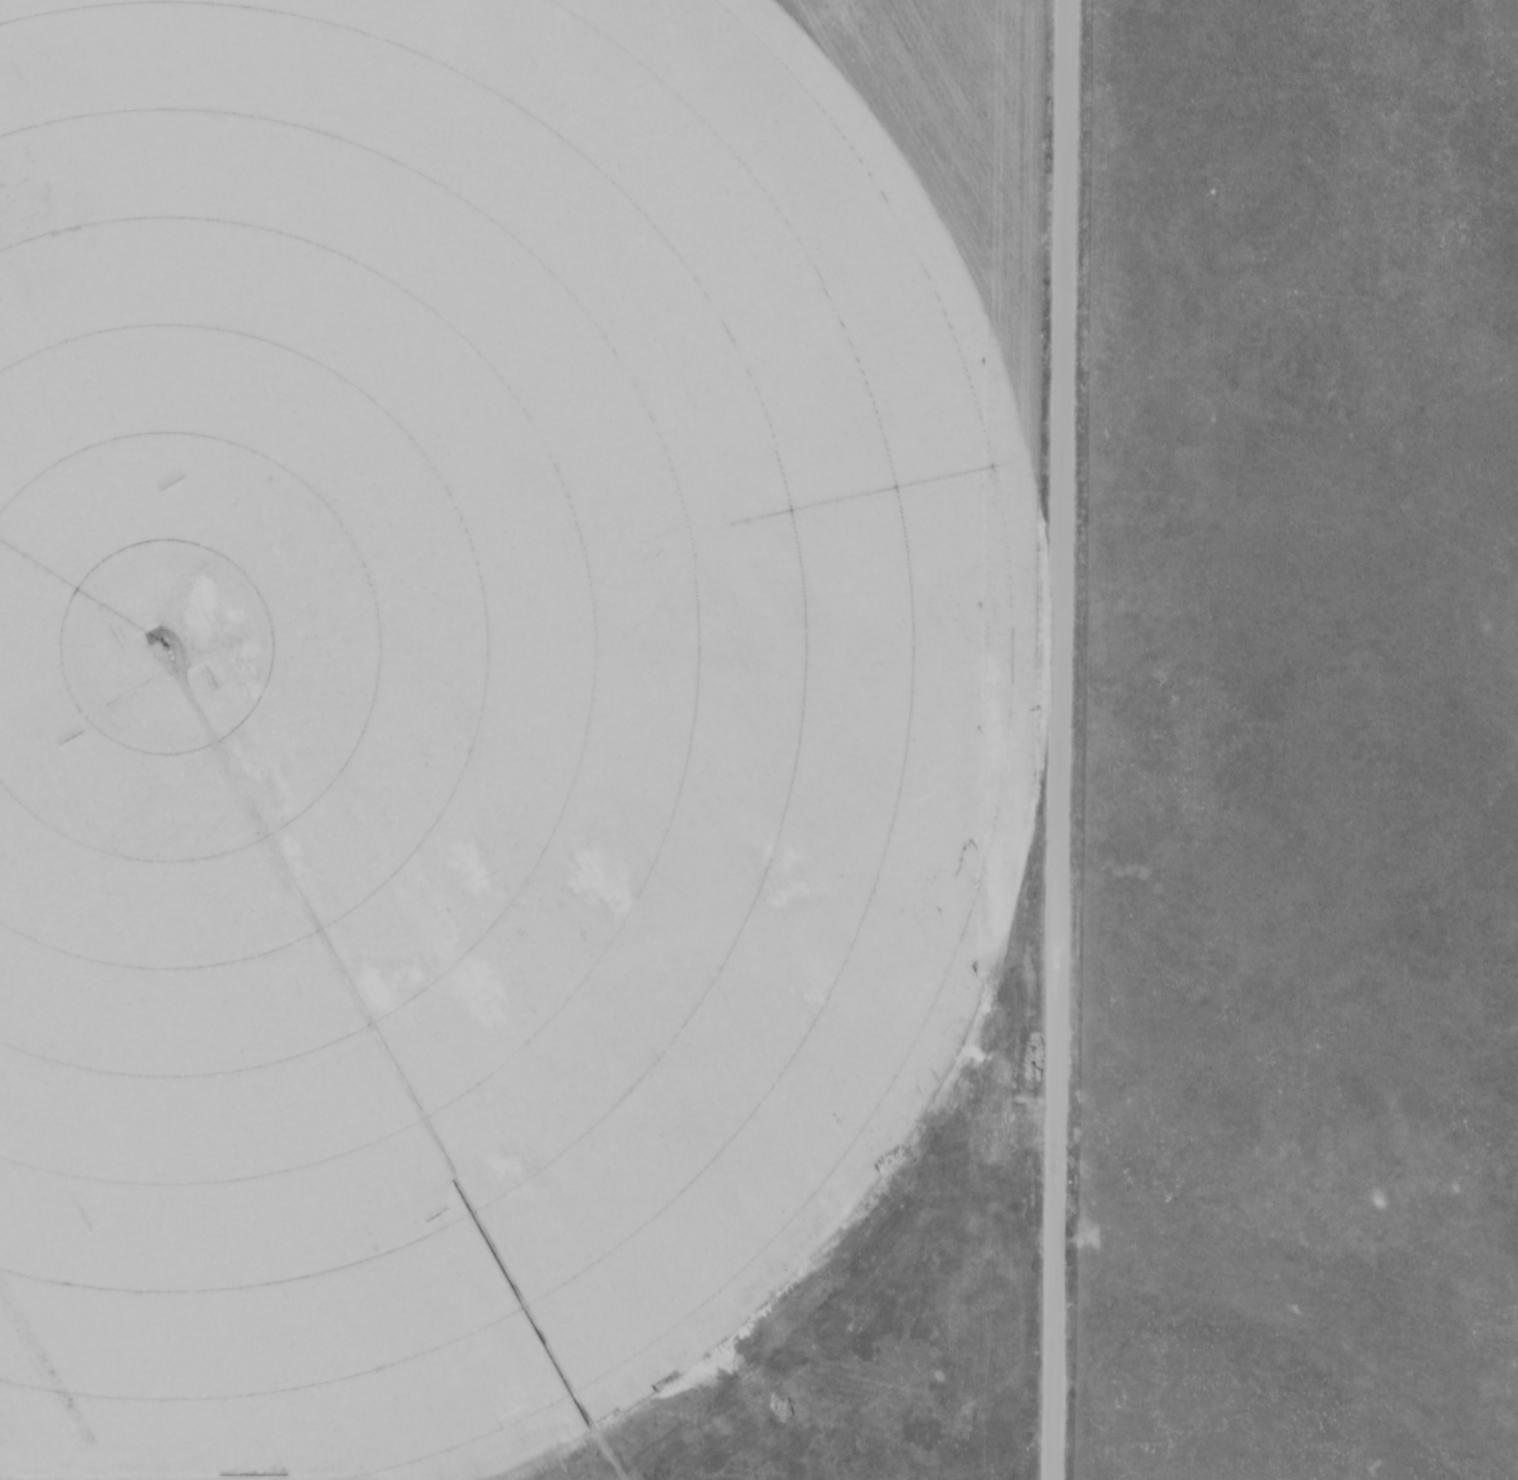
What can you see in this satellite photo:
road: (1061, 740)

